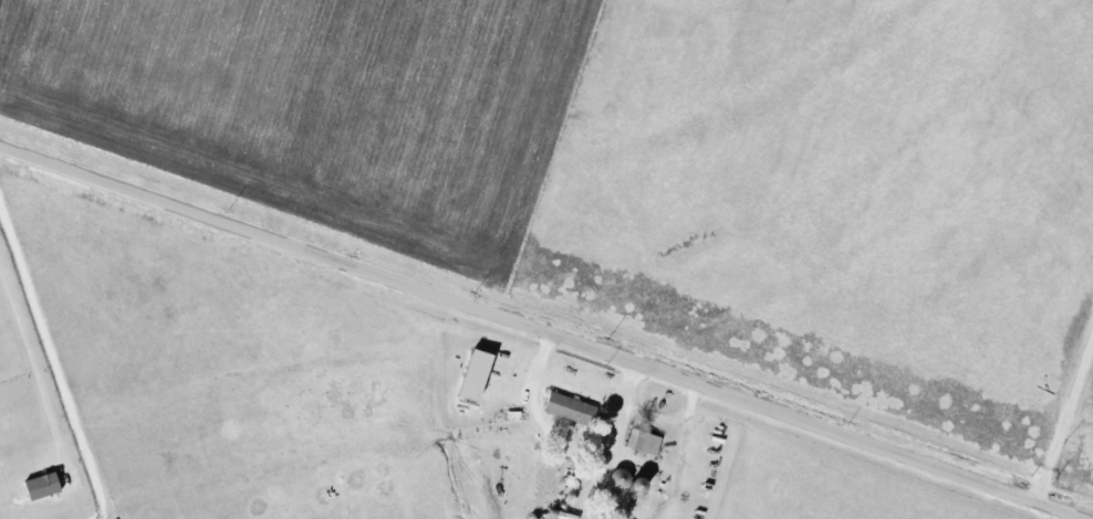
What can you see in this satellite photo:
road: (545, 330)
road: (35, 370)
building: (479, 375)
building: (571, 409)
road: (1070, 430)
building: (44, 486)

